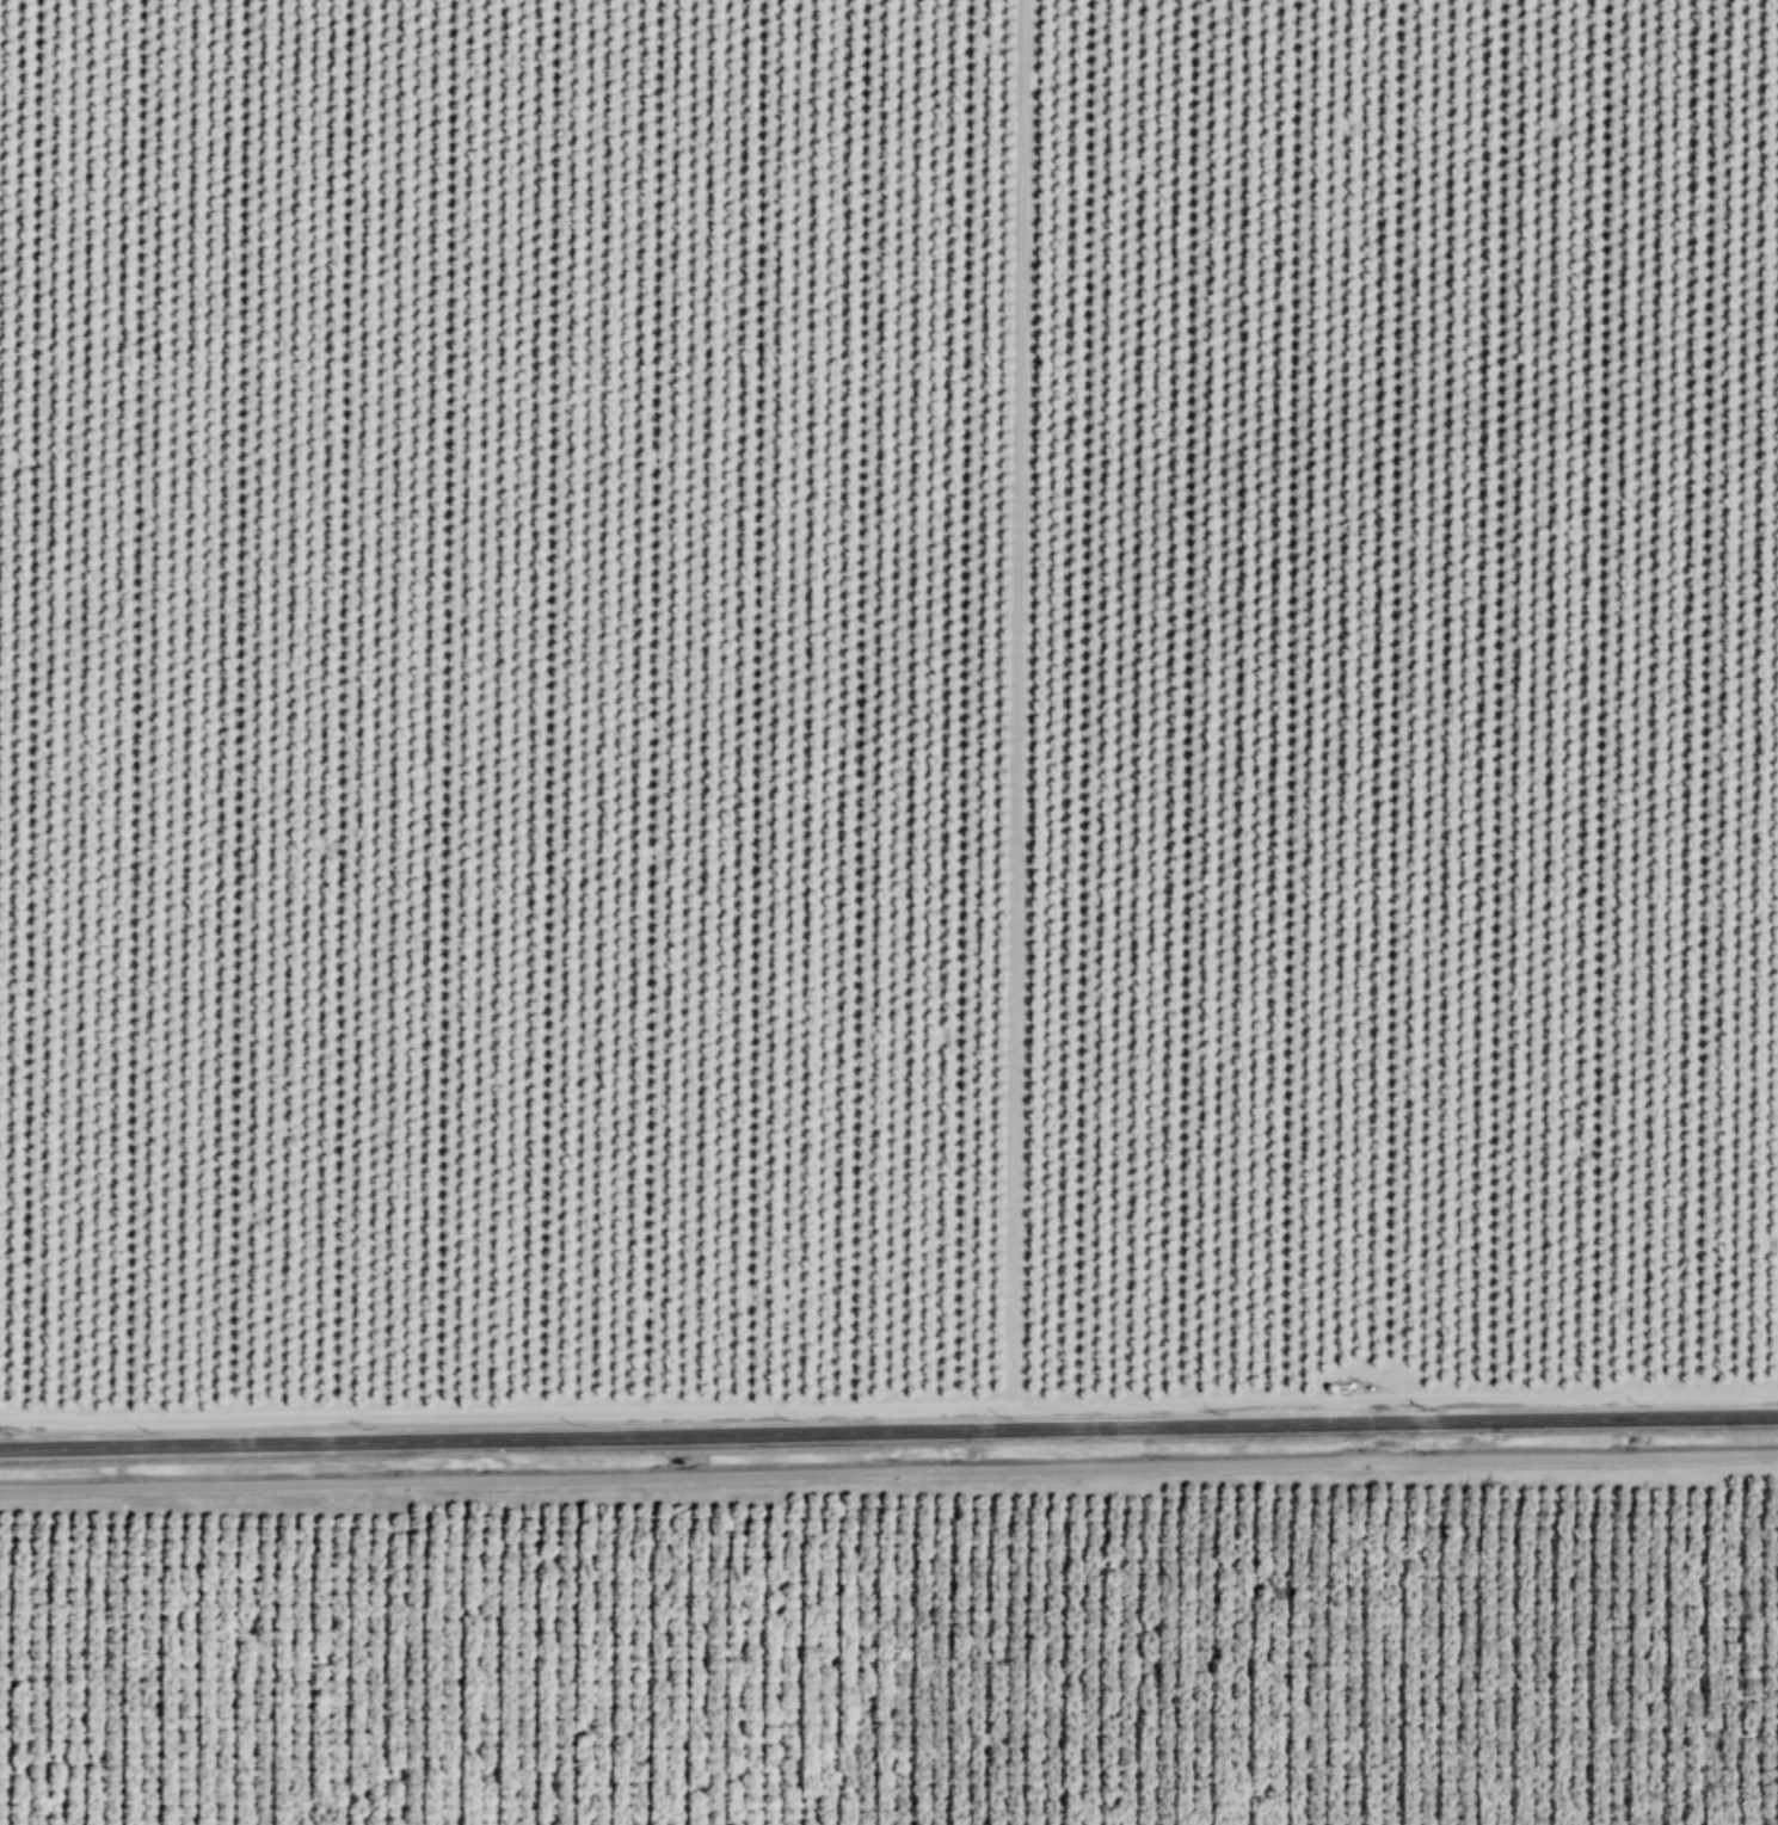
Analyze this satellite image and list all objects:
road: (1017, 708)
road: (1370, 1398)
road: (898, 1407)
road: (888, 1431)
road: (888, 1472)

